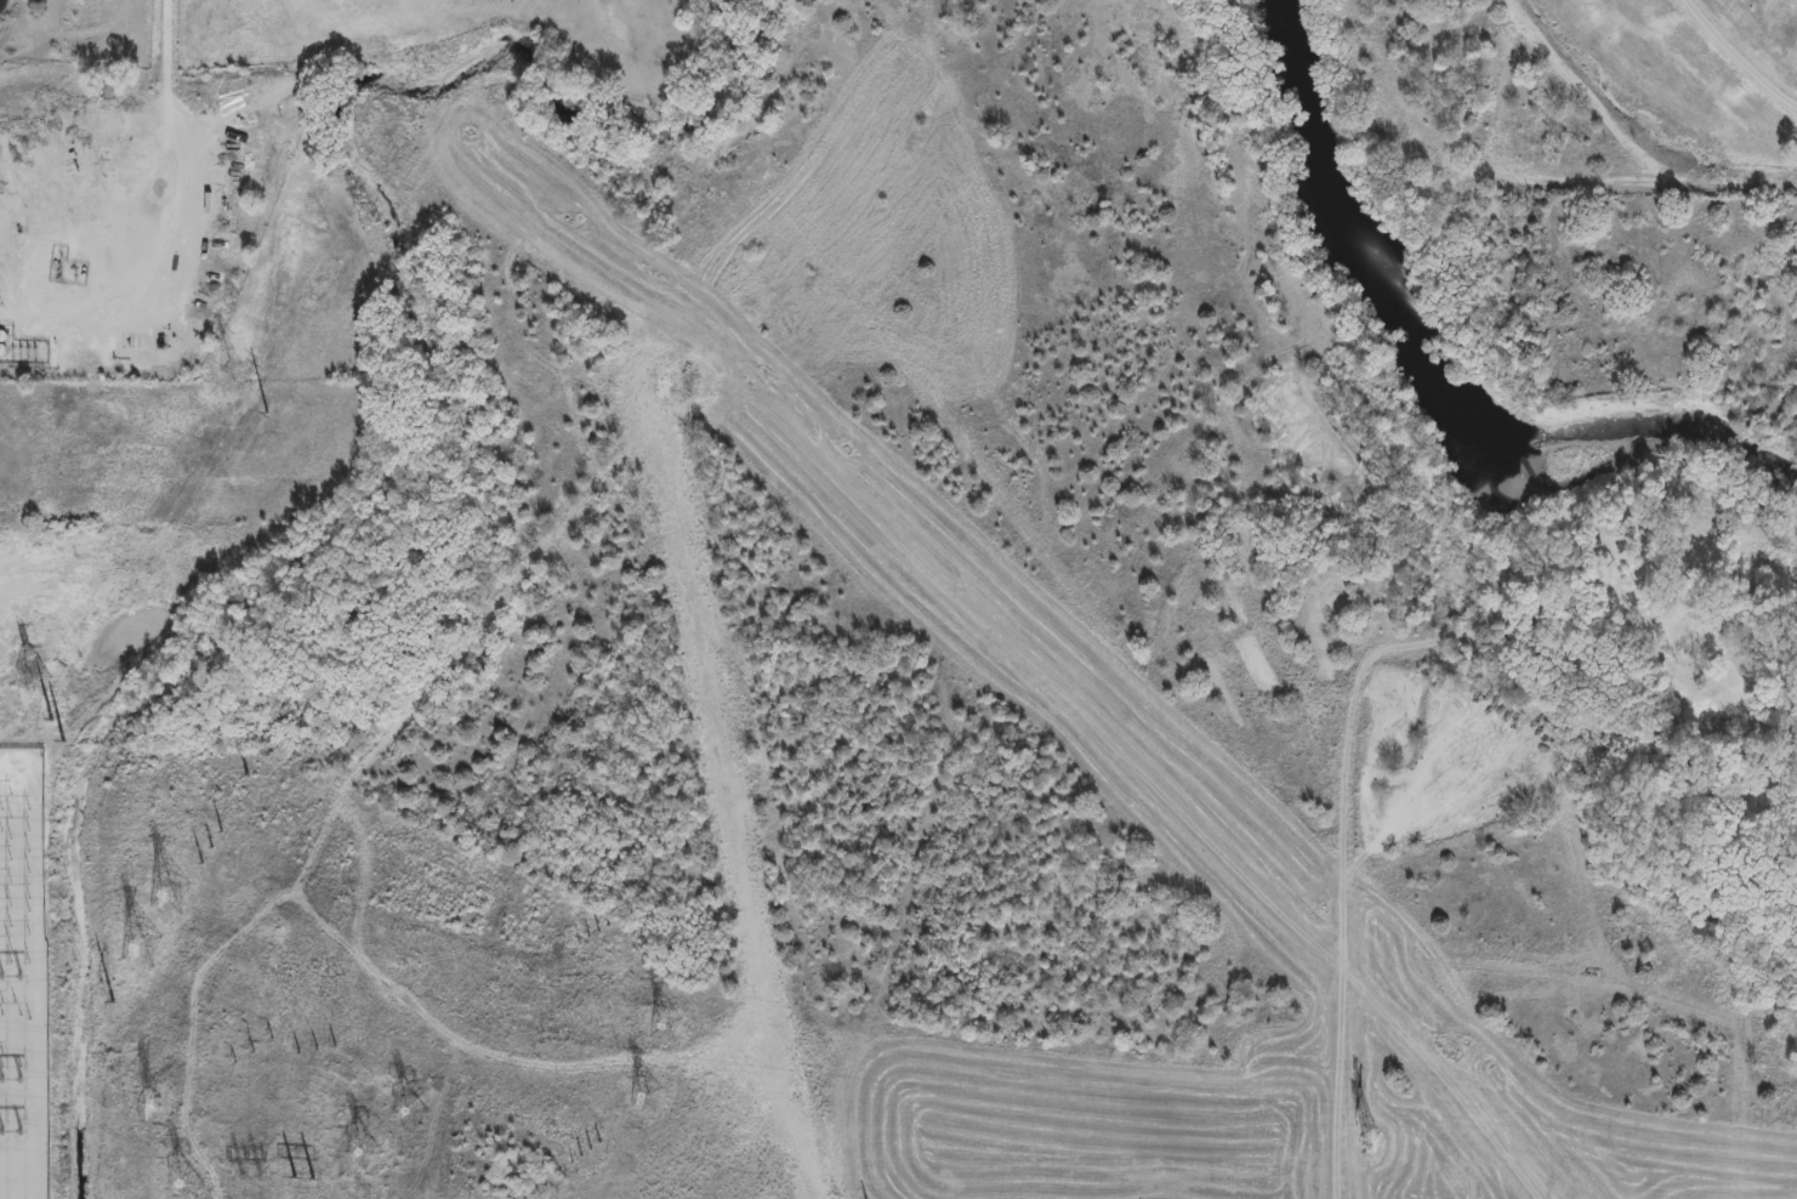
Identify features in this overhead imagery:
road: (163, 44)
landfill: (1591, 93)
power tower: (234, 368)
power tower: (269, 411)
building: (1509, 536)
power tower: (39, 671)
power tower: (55, 720)
power tower: (66, 741)
power tower: (15, 767)
power tower: (212, 847)
power tower: (15, 871)
road: (1343, 877)
power tower: (174, 891)
power tower: (148, 949)
power substation: (24, 973)
power tower: (15, 974)
power tower: (115, 1002)
power tower: (669, 1027)
power tower: (318, 1050)
power tower: (254, 1051)
power tower: (16, 1073)
power tower: (648, 1095)
power tower: (159, 1106)
power tower: (413, 1113)
power tower: (16, 1127)
power tower: (1405, 1150)
power tower: (369, 1153)
power tower: (254, 1175)
power tower: (306, 1177)
power tower: (188, 1183)

